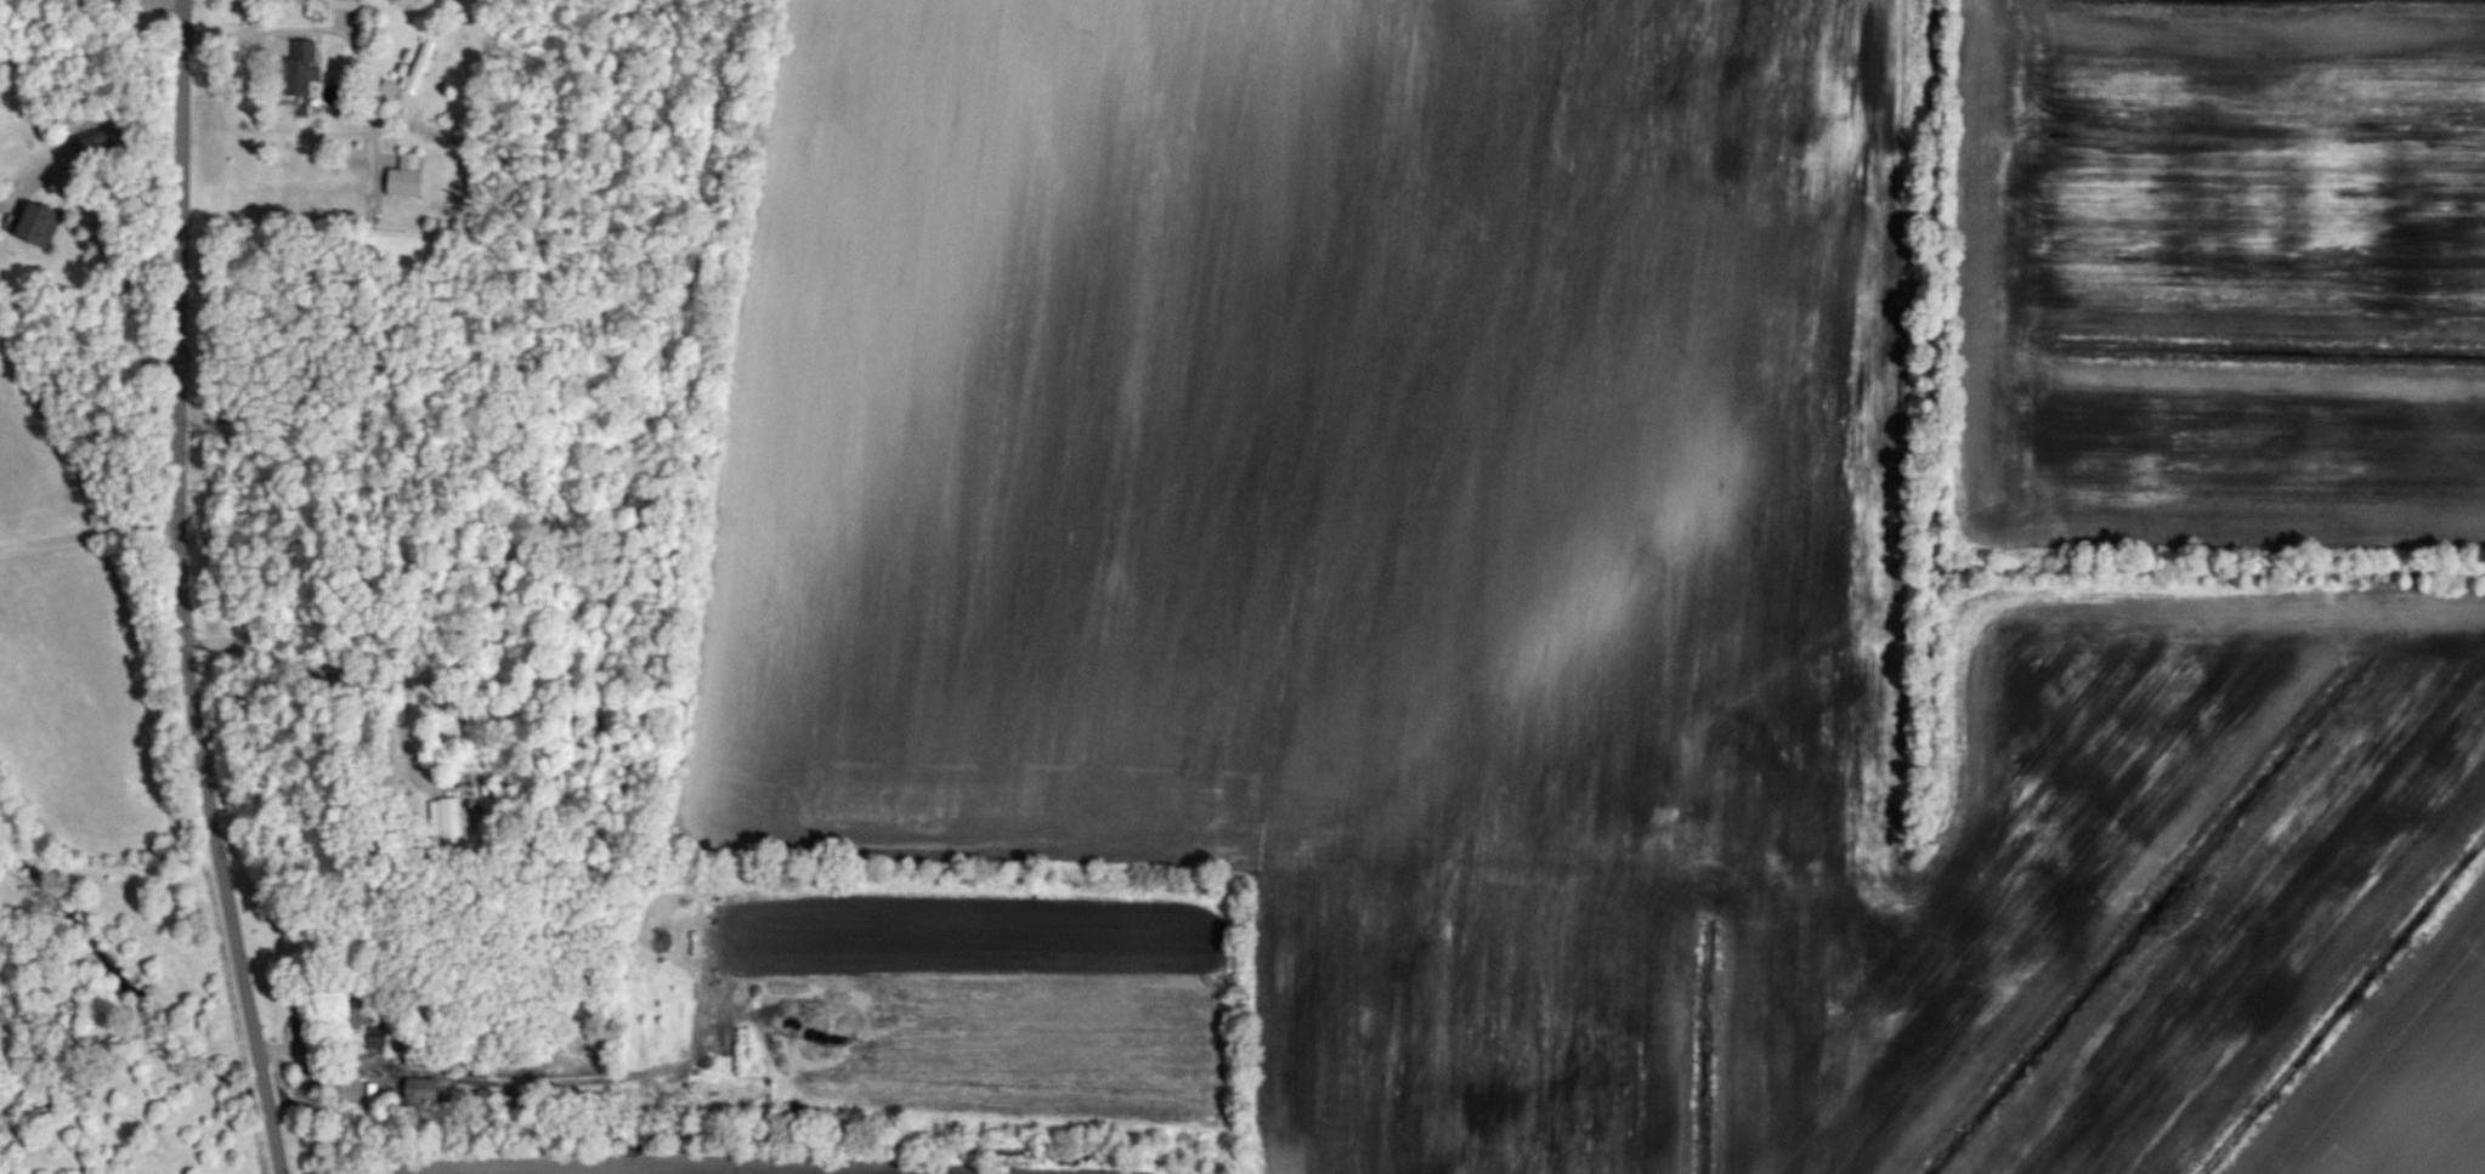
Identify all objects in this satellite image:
building: (349, 5)
building: (308, 68)
building: (425, 68)
building: (95, 138)
building: (411, 176)
building: (45, 226)
road: (89, 533)
road: (180, 591)
building: (428, 1089)

